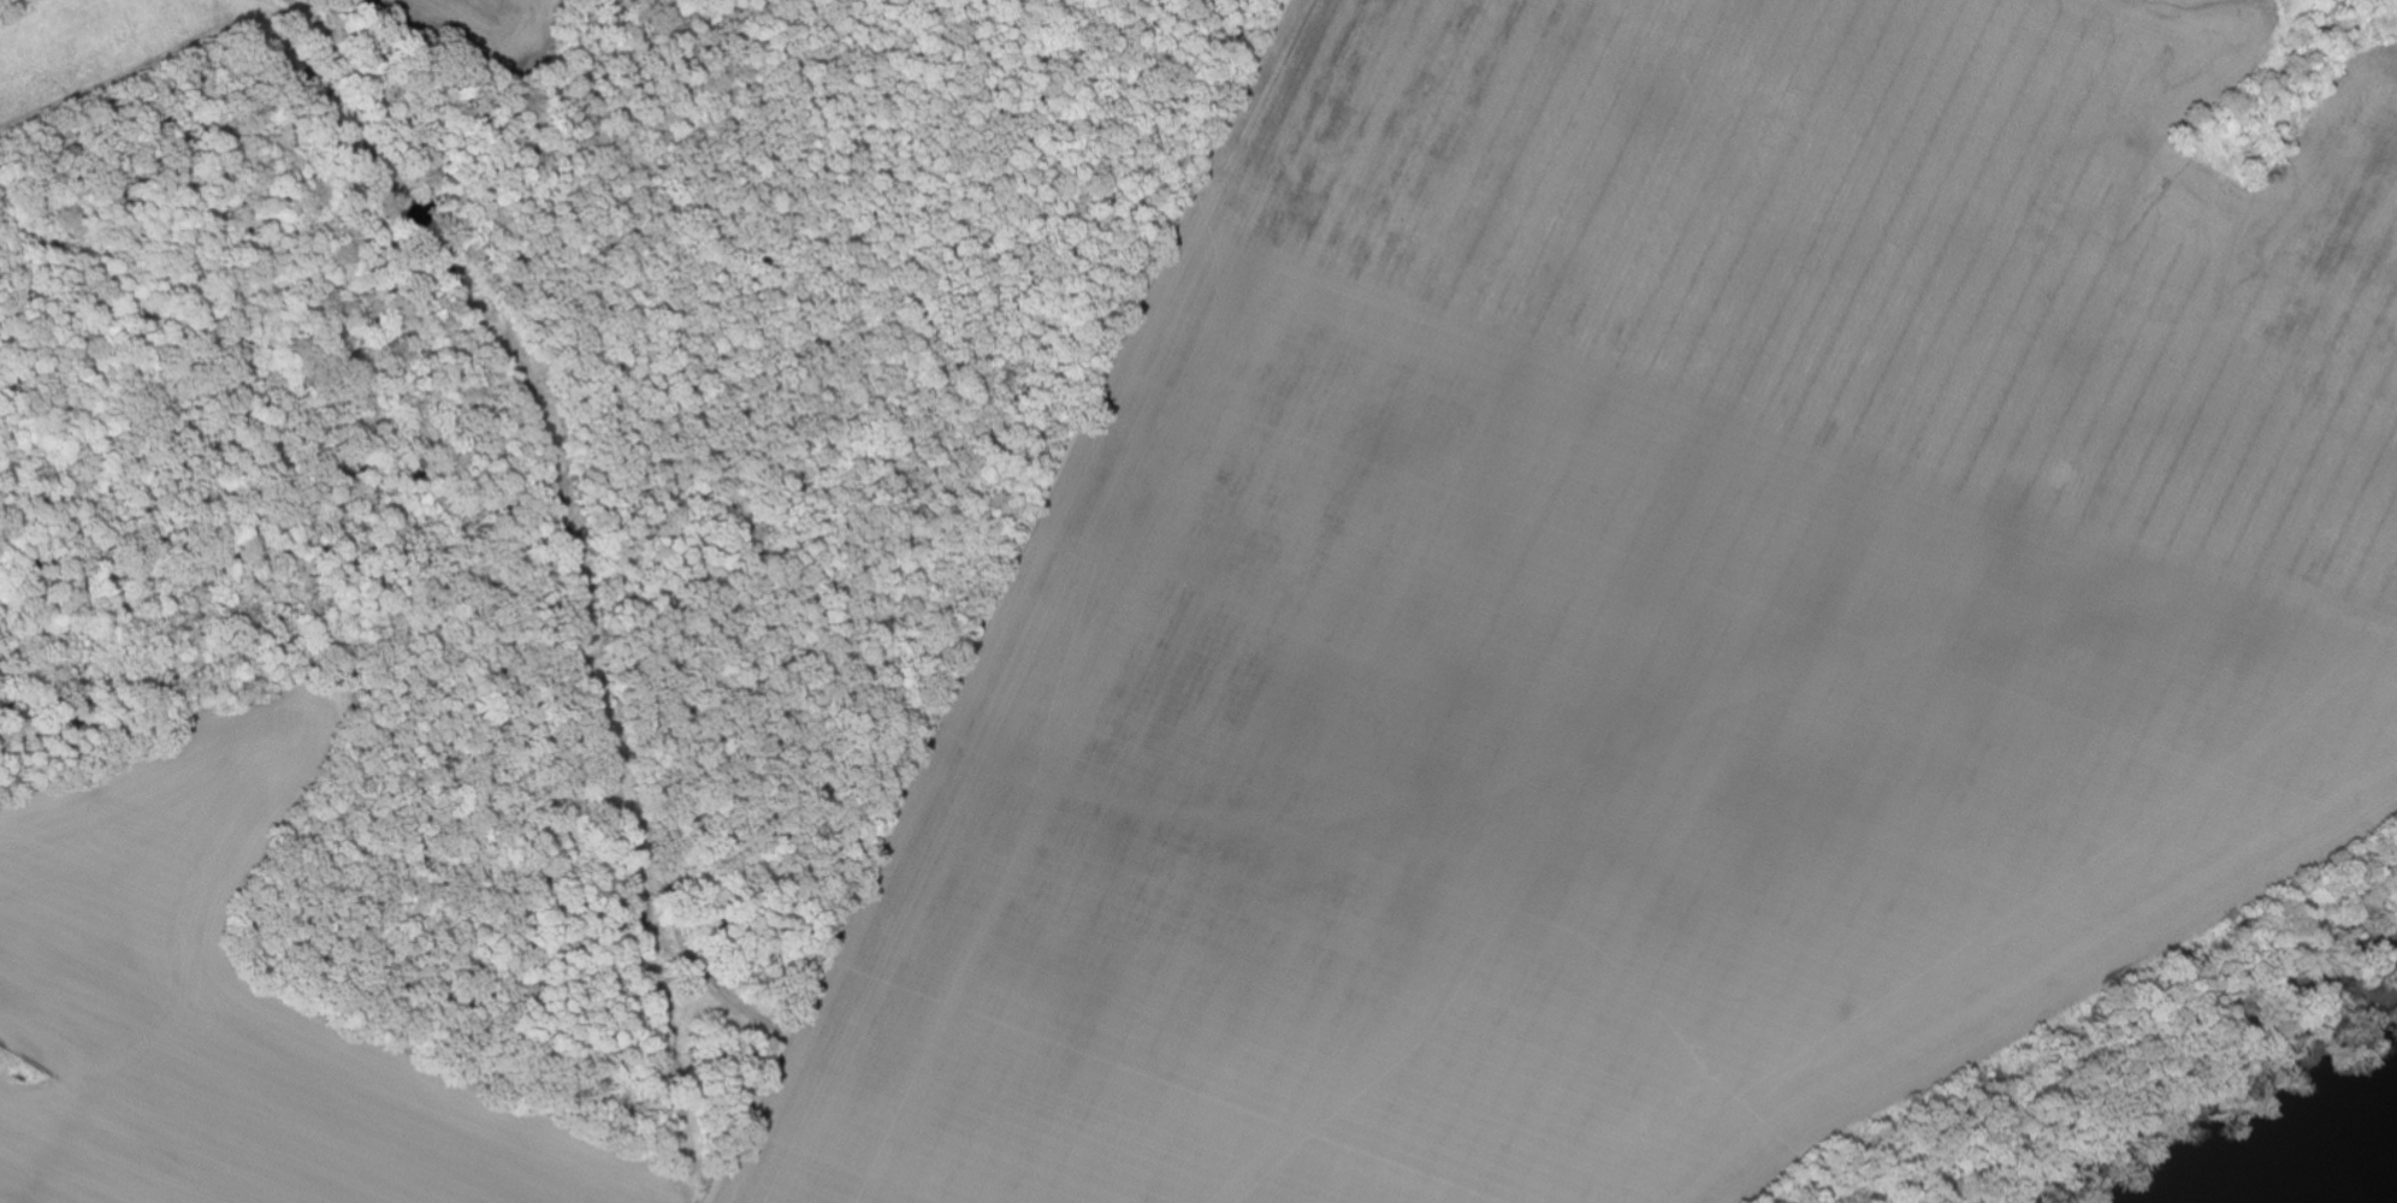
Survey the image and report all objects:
river: (2337, 1168)

